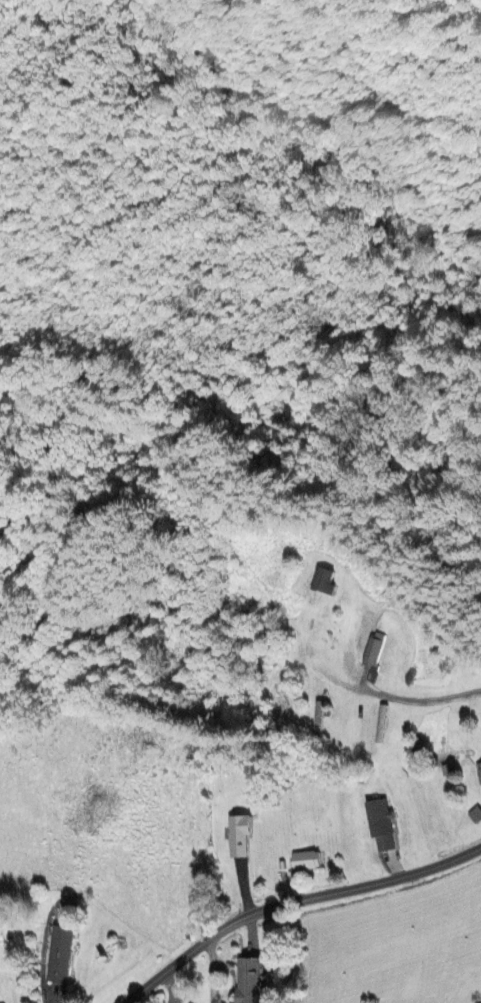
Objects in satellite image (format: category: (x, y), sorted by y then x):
building: (321, 581)
road: (351, 635)
building: (372, 648)
building: (477, 772)
building: (379, 825)
building: (236, 836)
building: (303, 860)
road: (297, 903)
building: (58, 954)
building: (247, 980)
road: (172, 986)

